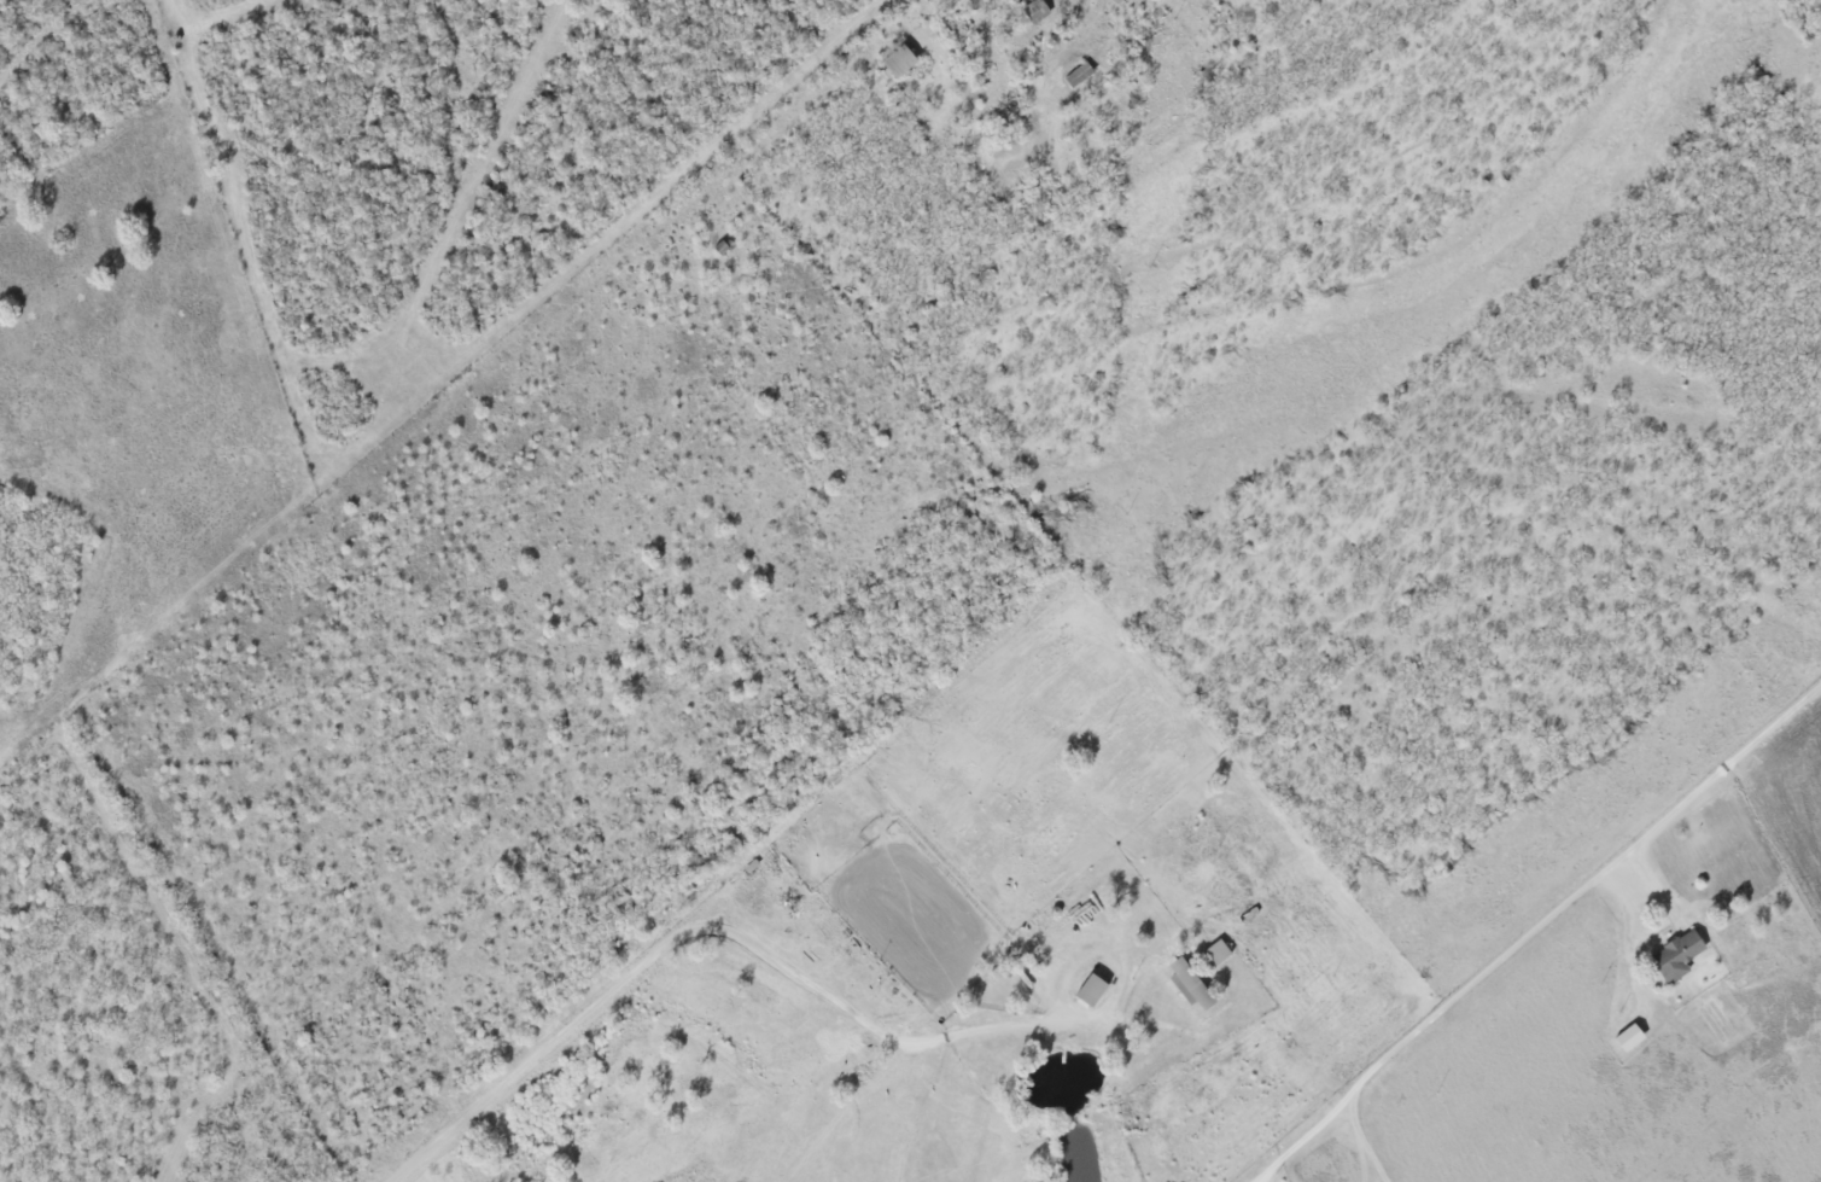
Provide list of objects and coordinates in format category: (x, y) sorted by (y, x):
building: (899, 63)
road: (1547, 916)
road: (702, 934)
building: (1215, 954)
building: (1676, 956)
building: (1189, 985)
building: (1629, 1038)
road: (1306, 1135)

